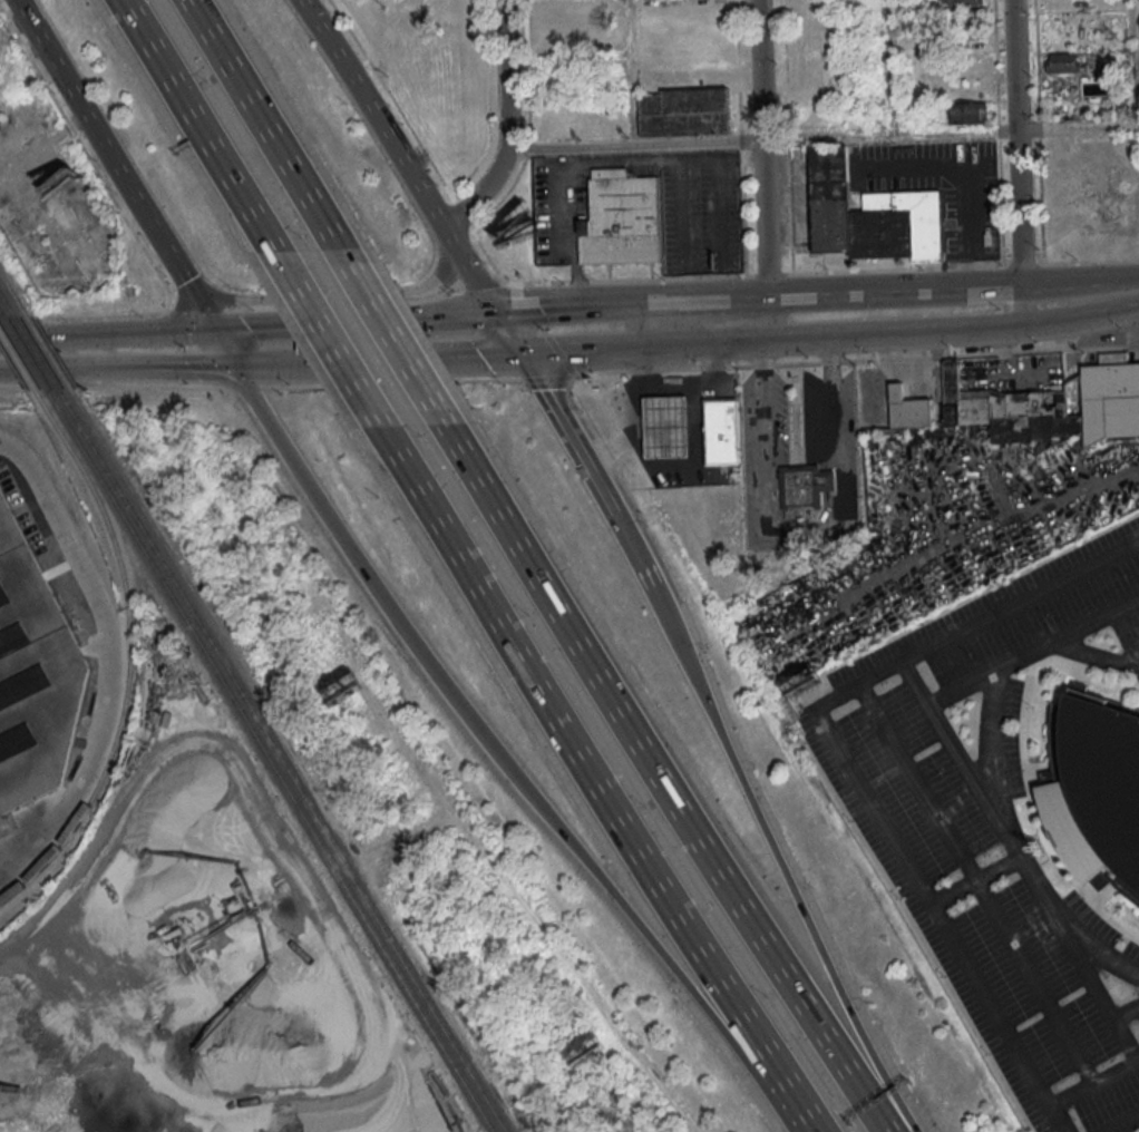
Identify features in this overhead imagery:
building: (965, 2)
building: (552, 12)
building: (967, 18)
road: (1138, 23)
road: (31, 29)
road: (35, 29)
building: (553, 36)
road: (627, 40)
building: (1067, 62)
road: (888, 68)
building: (683, 111)
building: (967, 113)
road: (198, 125)
road: (264, 126)
road: (505, 128)
road: (820, 139)
road: (595, 164)
road: (1016, 164)
road: (761, 170)
road: (408, 175)
road: (132, 193)
building: (868, 215)
building: (621, 218)
road: (1067, 283)
road: (864, 292)
road: (315, 295)
railway: (7, 302)
road: (613, 305)
railway: (2, 312)
traffic signals: (493, 313)
road: (352, 321)
traffic signals: (212, 330)
road: (140, 332)
railway: (14, 334)
road: (35, 335)
road: (828, 338)
road: (328, 339)
road: (393, 339)
road: (223, 350)
railway: (37, 352)
traffic signals: (517, 354)
road: (444, 358)
railway: (18, 360)
road: (302, 365)
traffic signals: (235, 370)
railway: (37, 371)
road: (160, 373)
road: (569, 374)
road: (49, 378)
road: (6, 379)
road: (828, 394)
road: (759, 400)
building: (1044, 404)
building: (908, 409)
building: (668, 426)
building: (722, 430)
road: (584, 468)
building: (802, 487)
road: (804, 539)
road: (1053, 640)
railway: (129, 656)
road: (98, 660)
road: (989, 672)
building: (32, 677)
road: (713, 721)
road: (473, 723)
road: (567, 734)
road: (989, 735)
road: (840, 750)
railway: (269, 761)
railway: (282, 761)
road: (660, 782)
building: (1096, 790)
parking lot: (995, 824)
road: (1006, 840)
road: (972, 879)
road: (976, 885)
road: (1091, 946)
road: (831, 996)
road: (1116, 1026)
road: (1138, 1062)
road: (1092, 1085)
road: (787, 1086)
road: (1055, 1120)
road: (1117, 1121)

